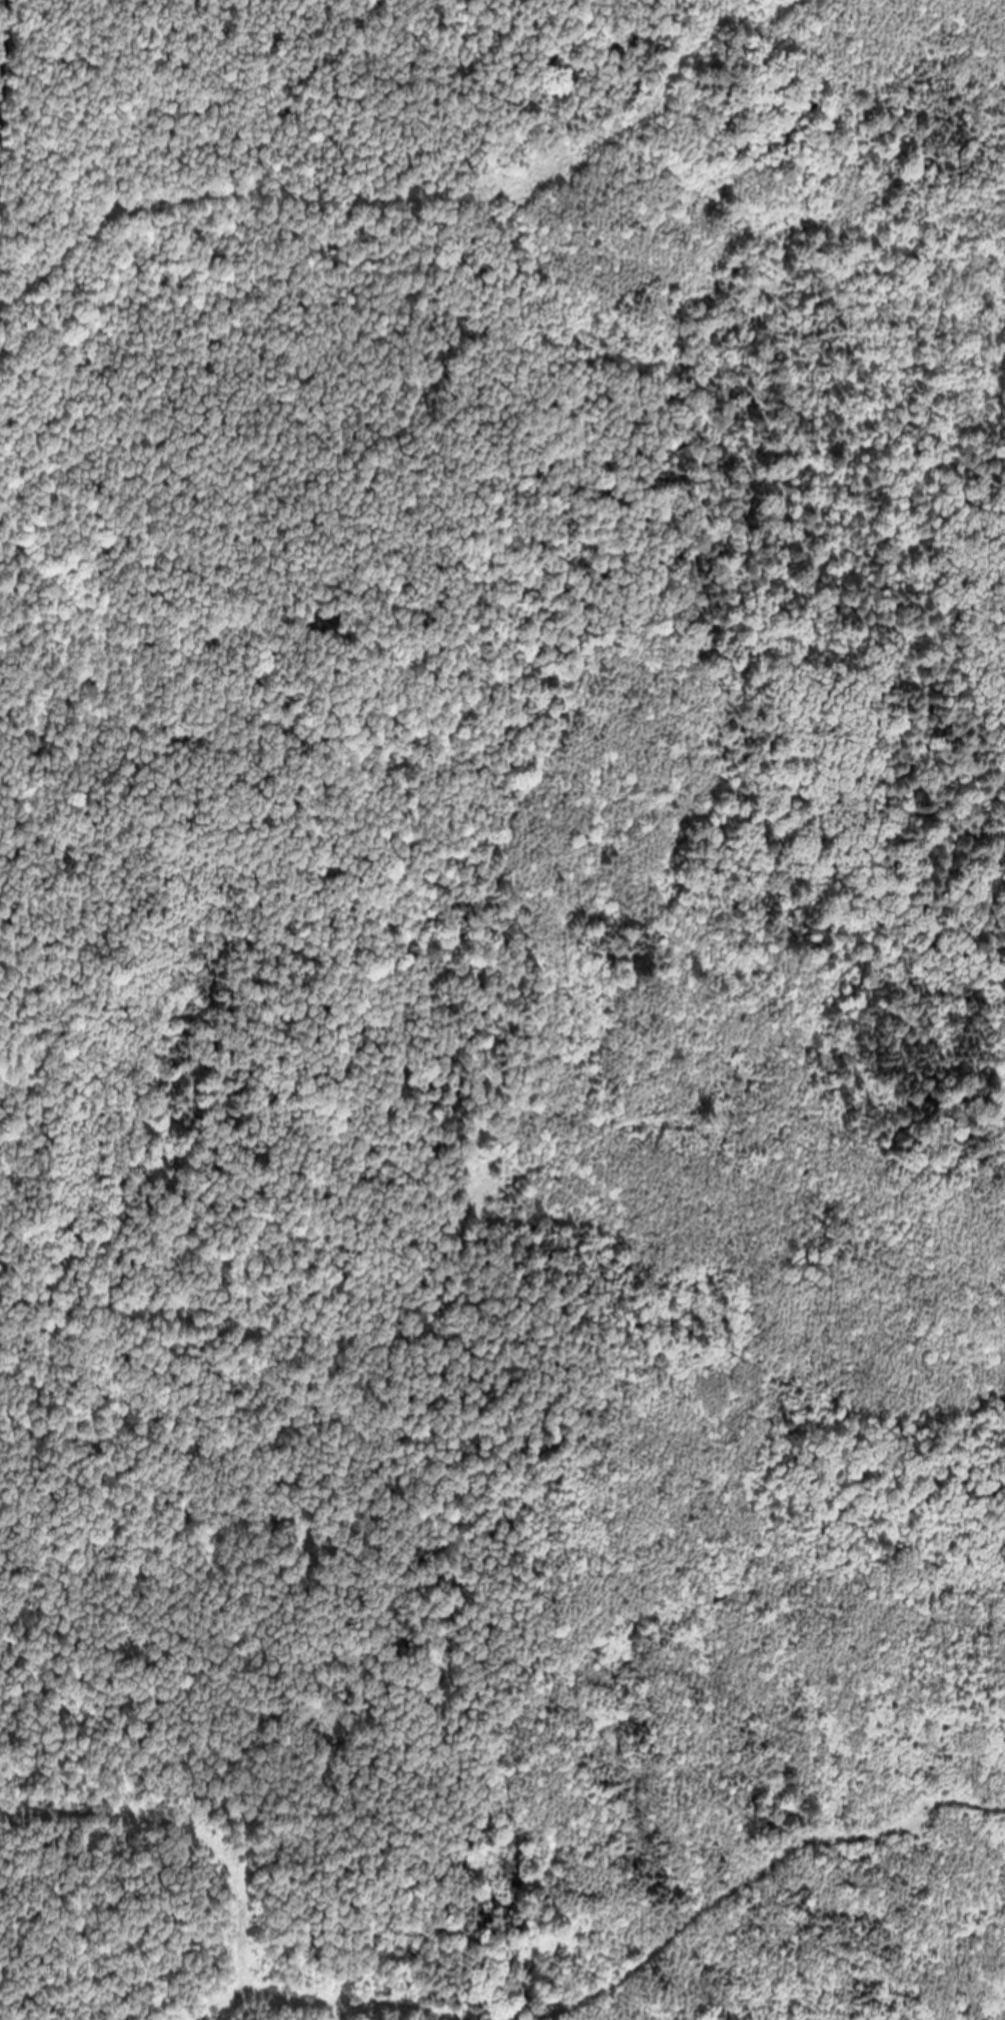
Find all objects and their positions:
road: (2, 33)
road: (230, 207)
road: (200, 1841)
road: (751, 1872)
road: (346, 2000)

